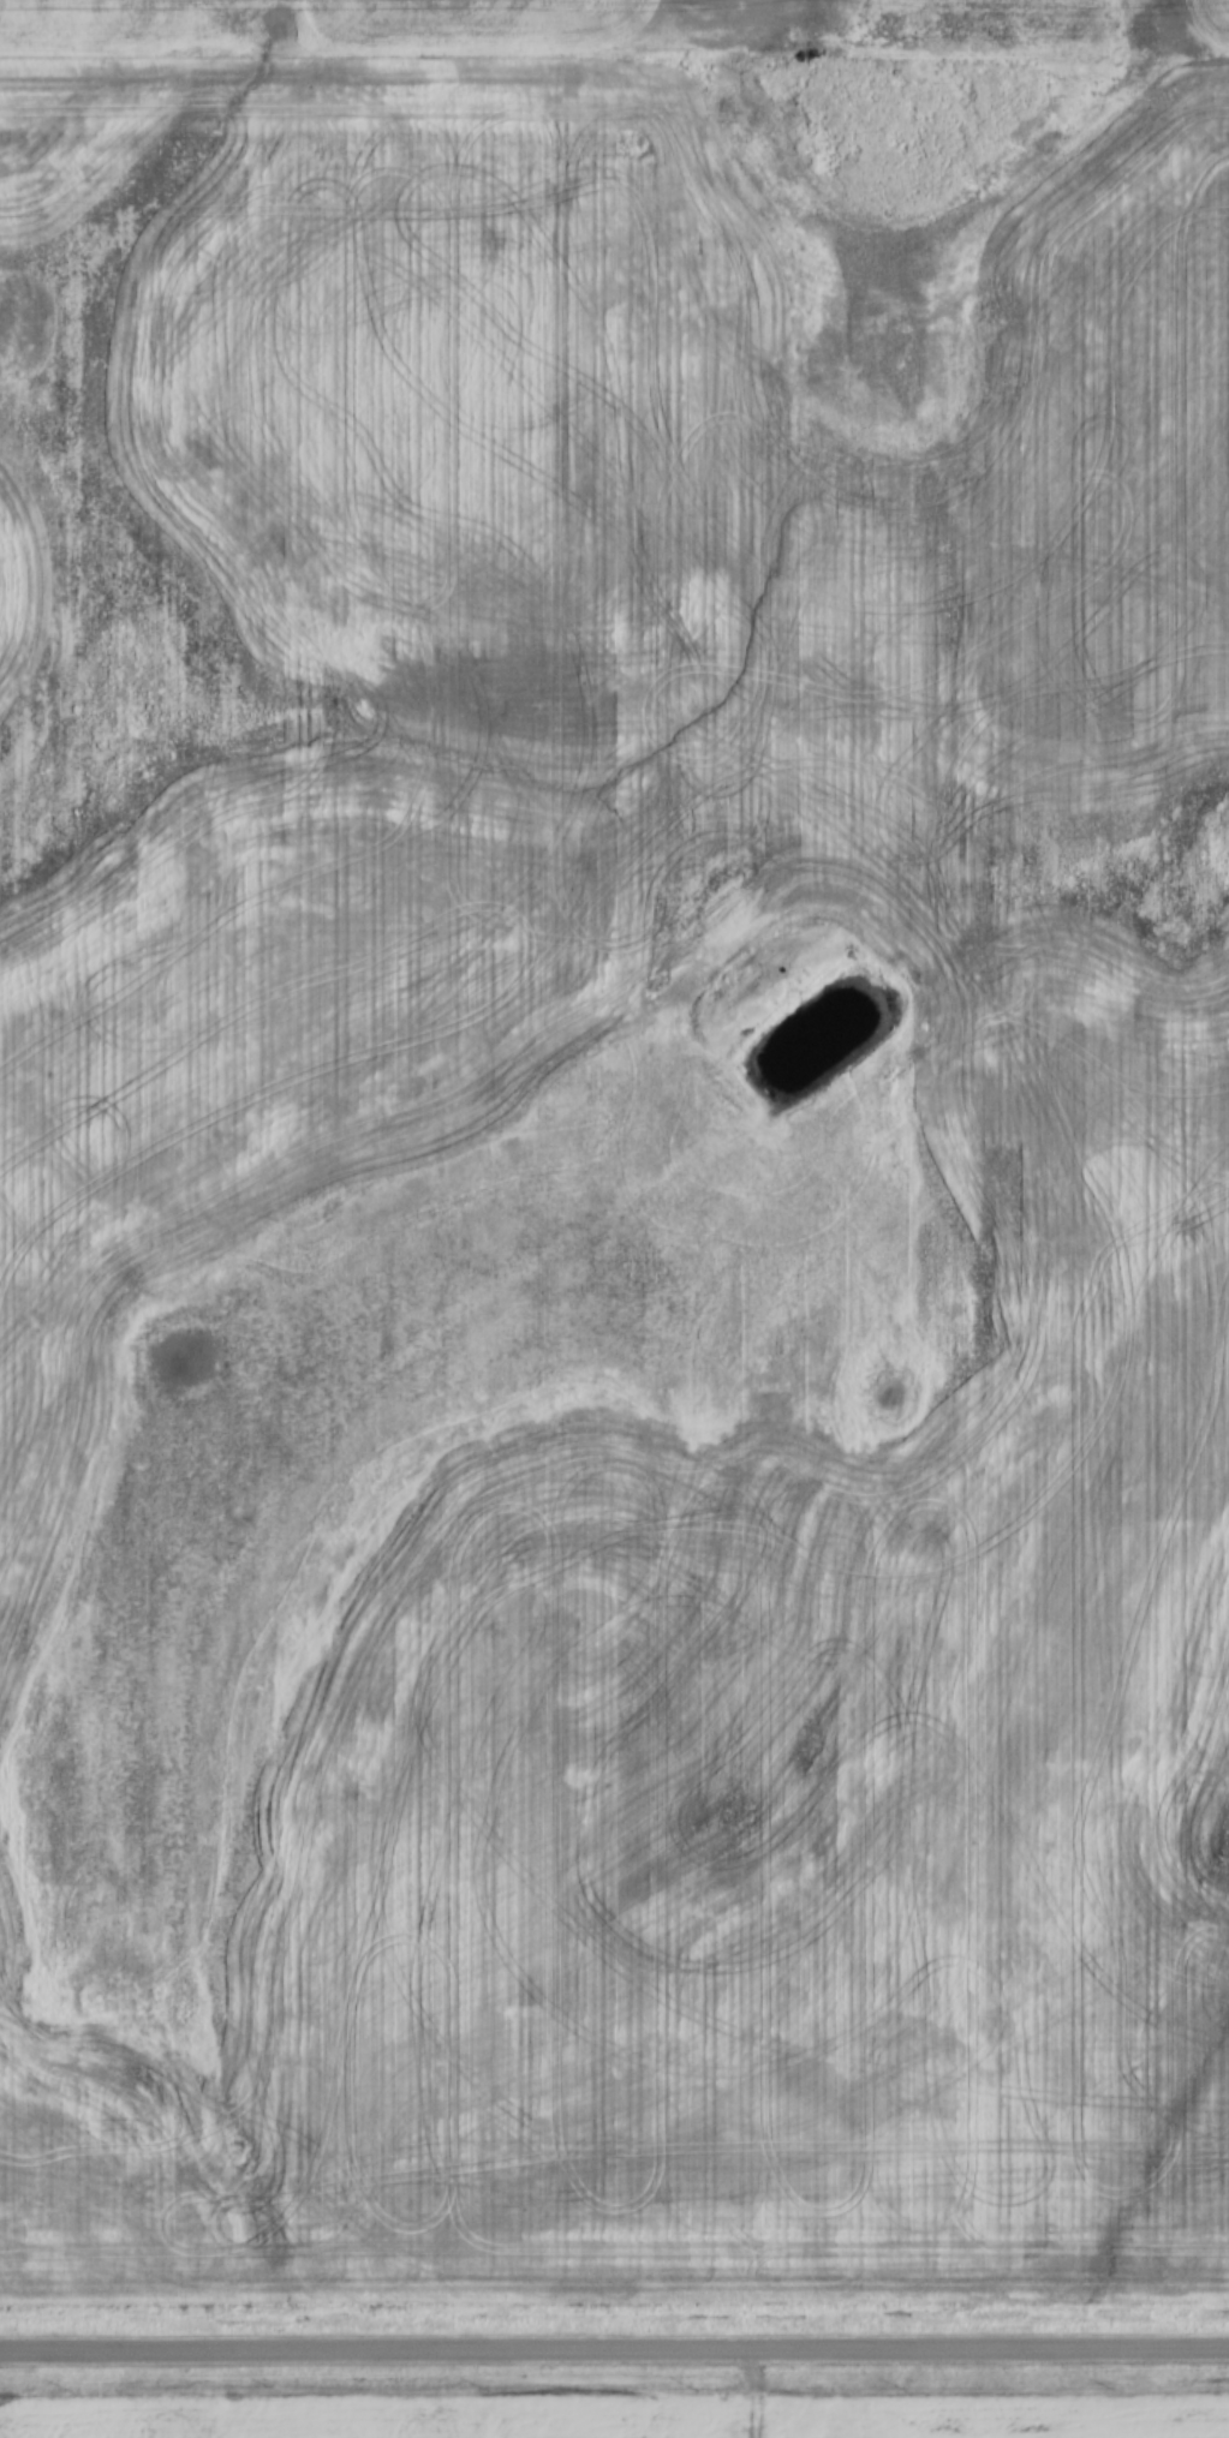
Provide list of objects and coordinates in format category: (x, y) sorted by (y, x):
road: (614, 2349)

